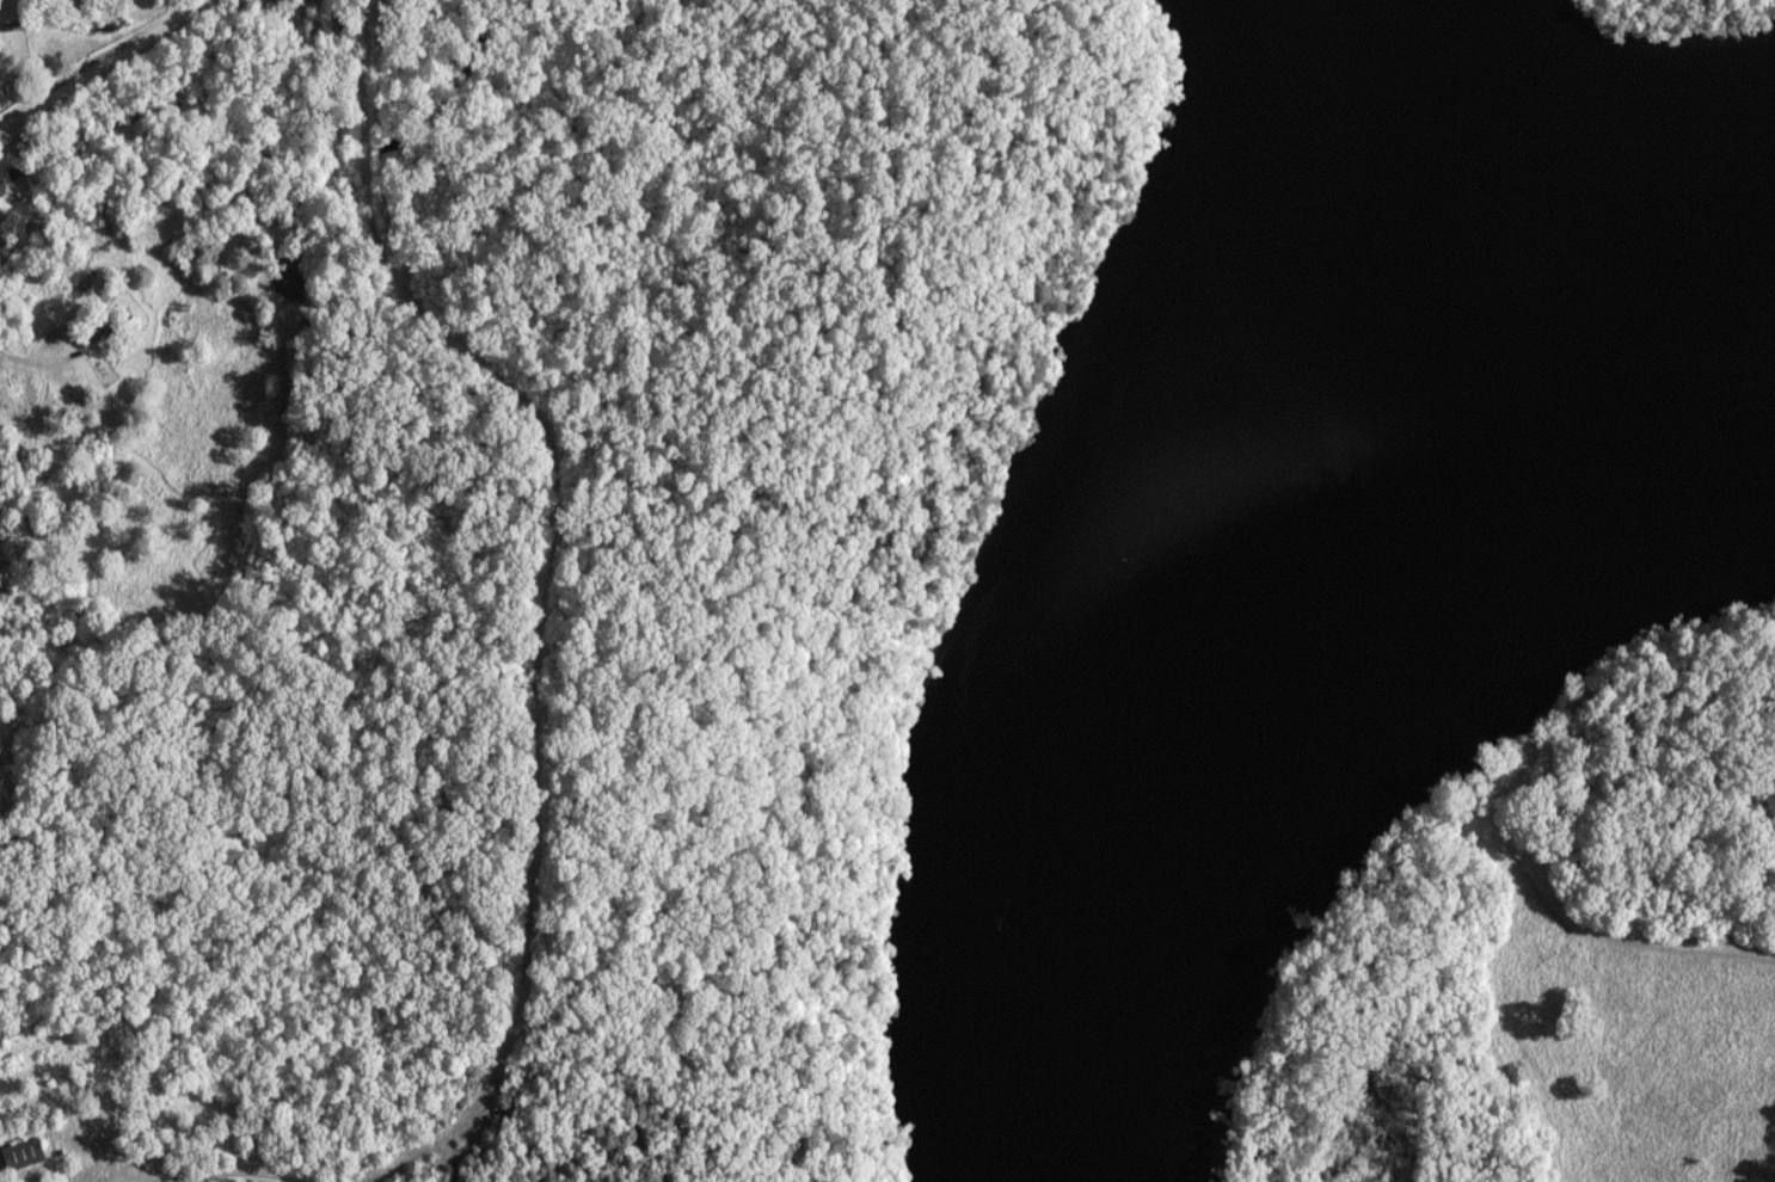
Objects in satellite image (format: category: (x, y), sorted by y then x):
road: (98, 66)
building: (2, 192)
road: (39, 363)
road: (549, 586)
river: (1333, 767)
building: (24, 1157)
road: (232, 1177)

